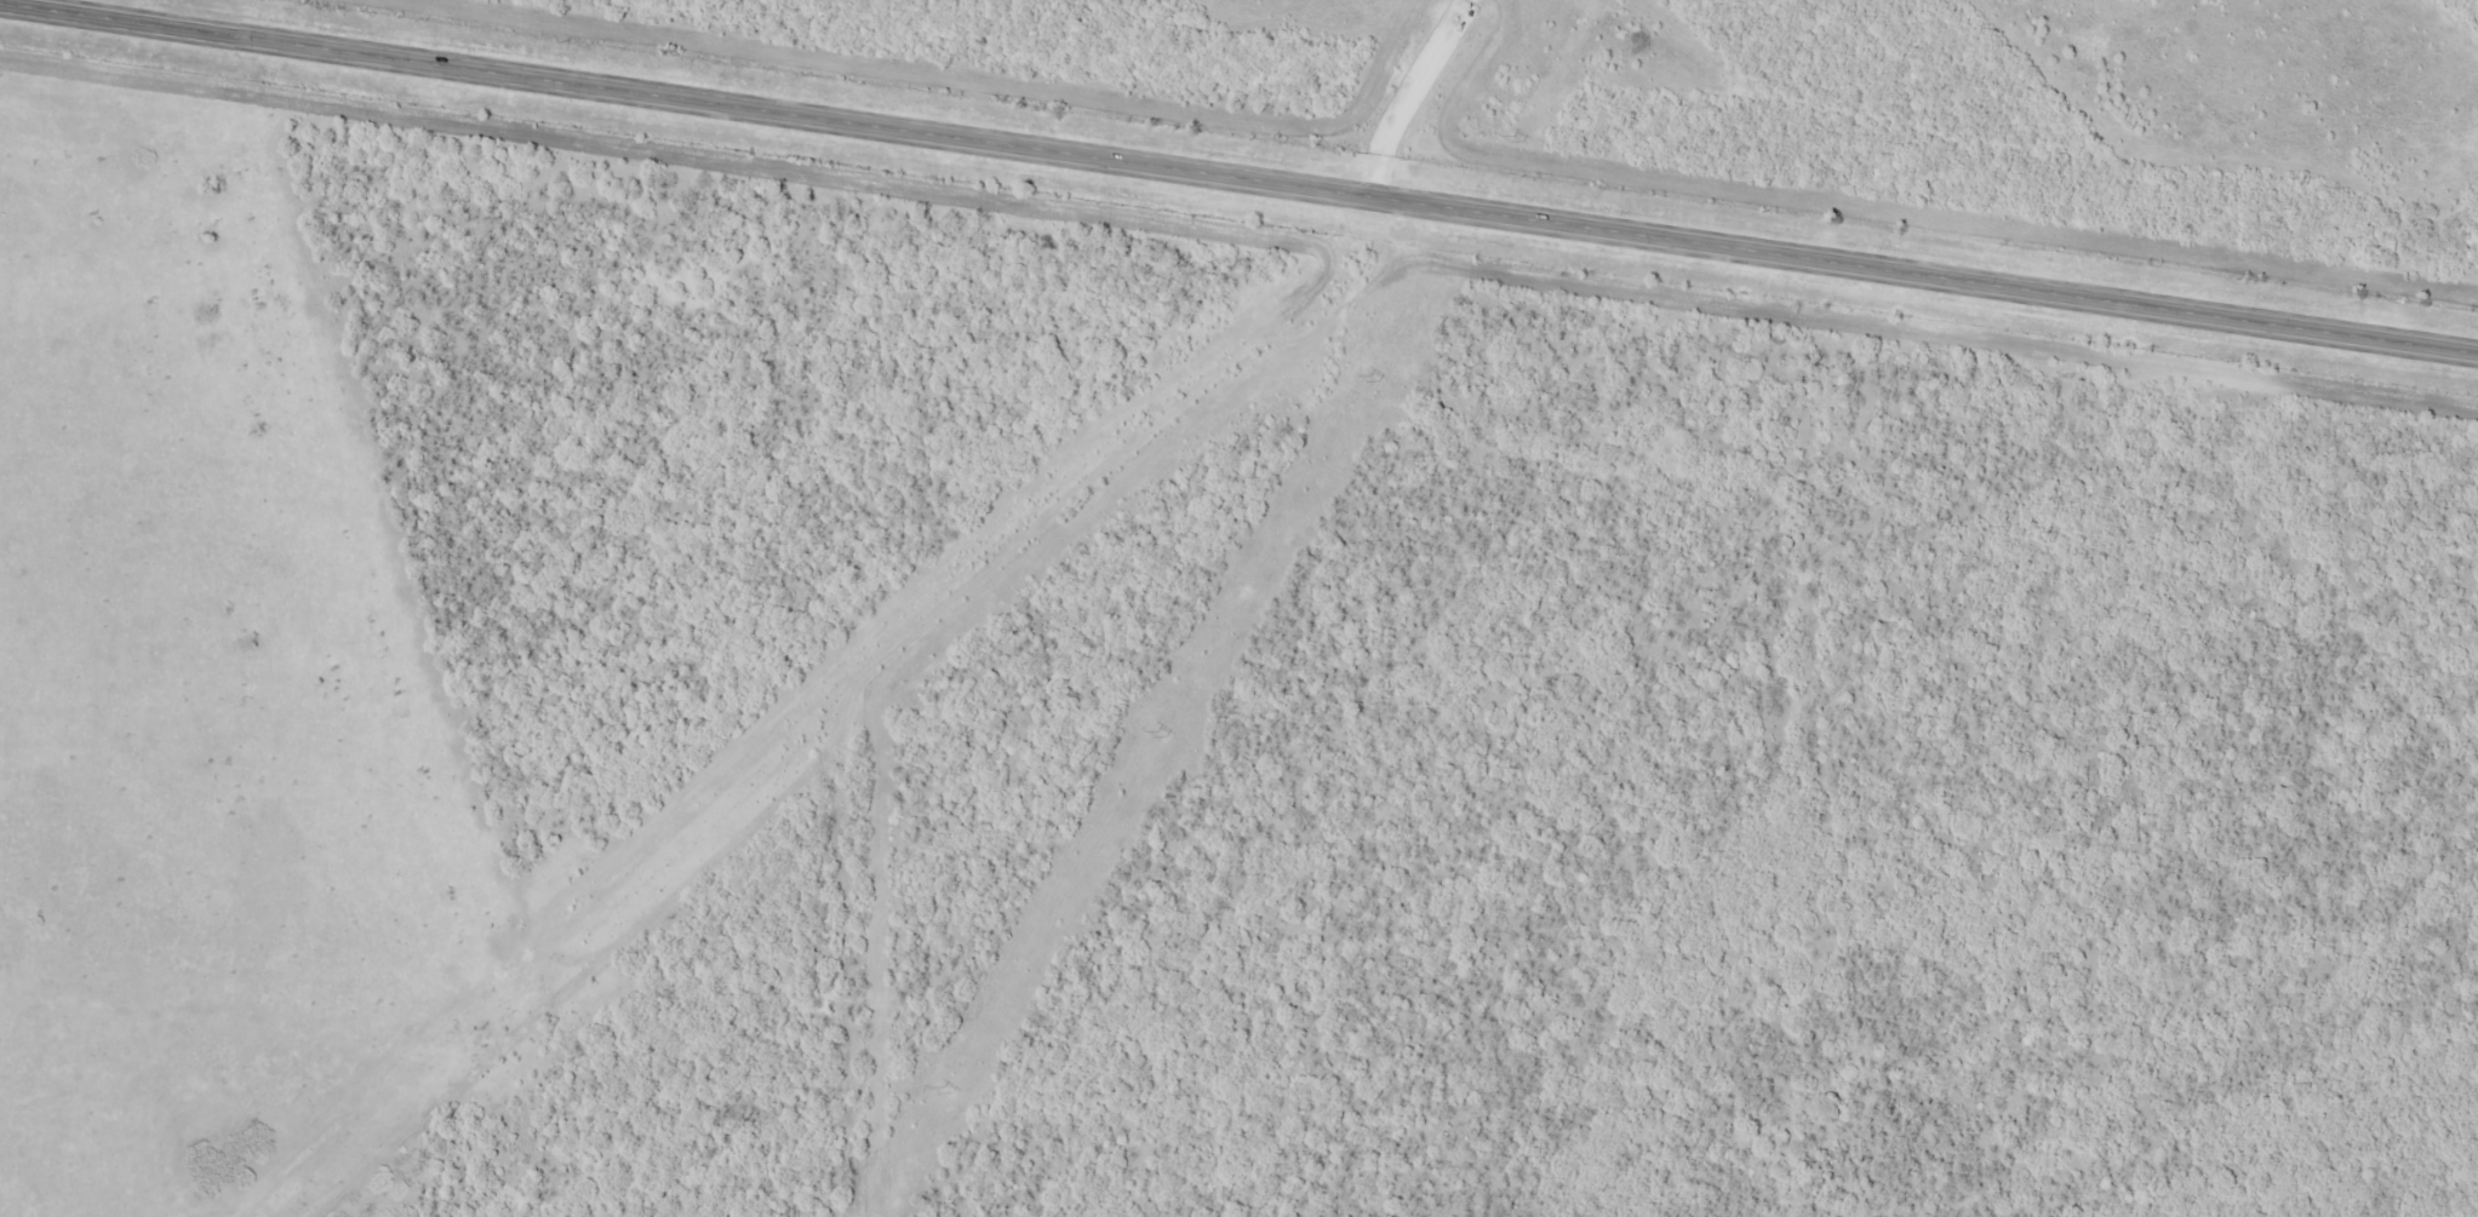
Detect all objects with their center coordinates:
power tower: (1520, 137)
road: (1240, 177)
power tower: (1372, 379)
power tower: (1160, 735)
power tower: (950, 1091)

